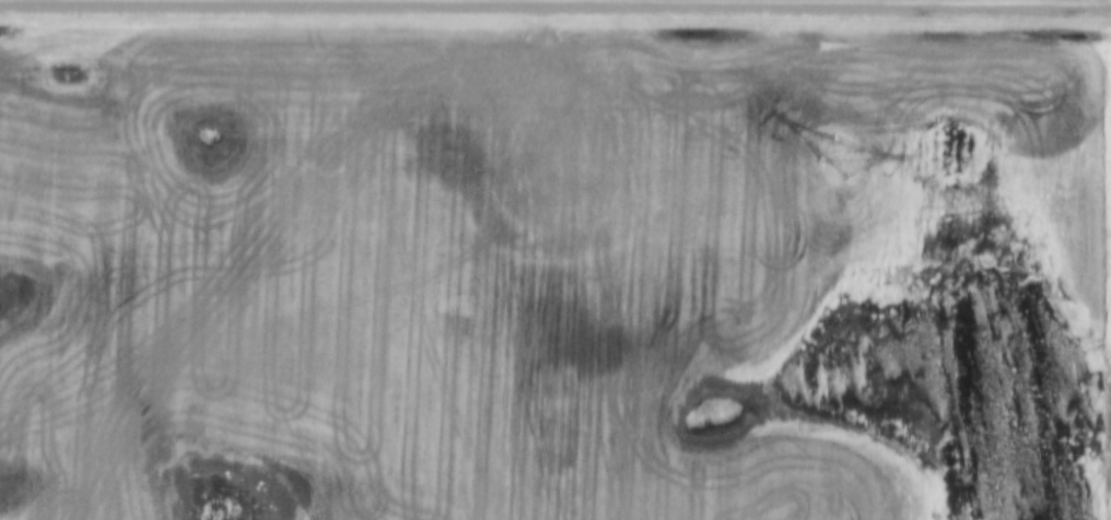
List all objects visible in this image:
road: (555, 9)
power tower: (843, 157)

